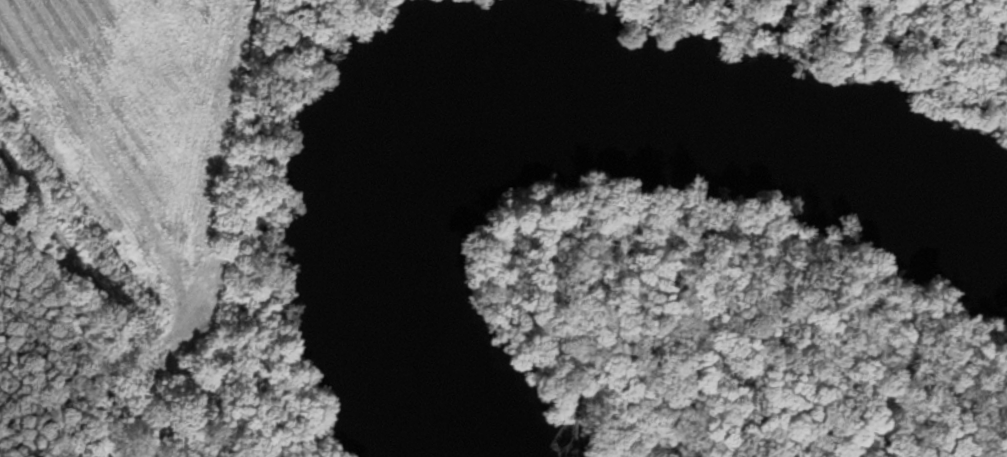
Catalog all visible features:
river: (529, 89)
road: (129, 278)

